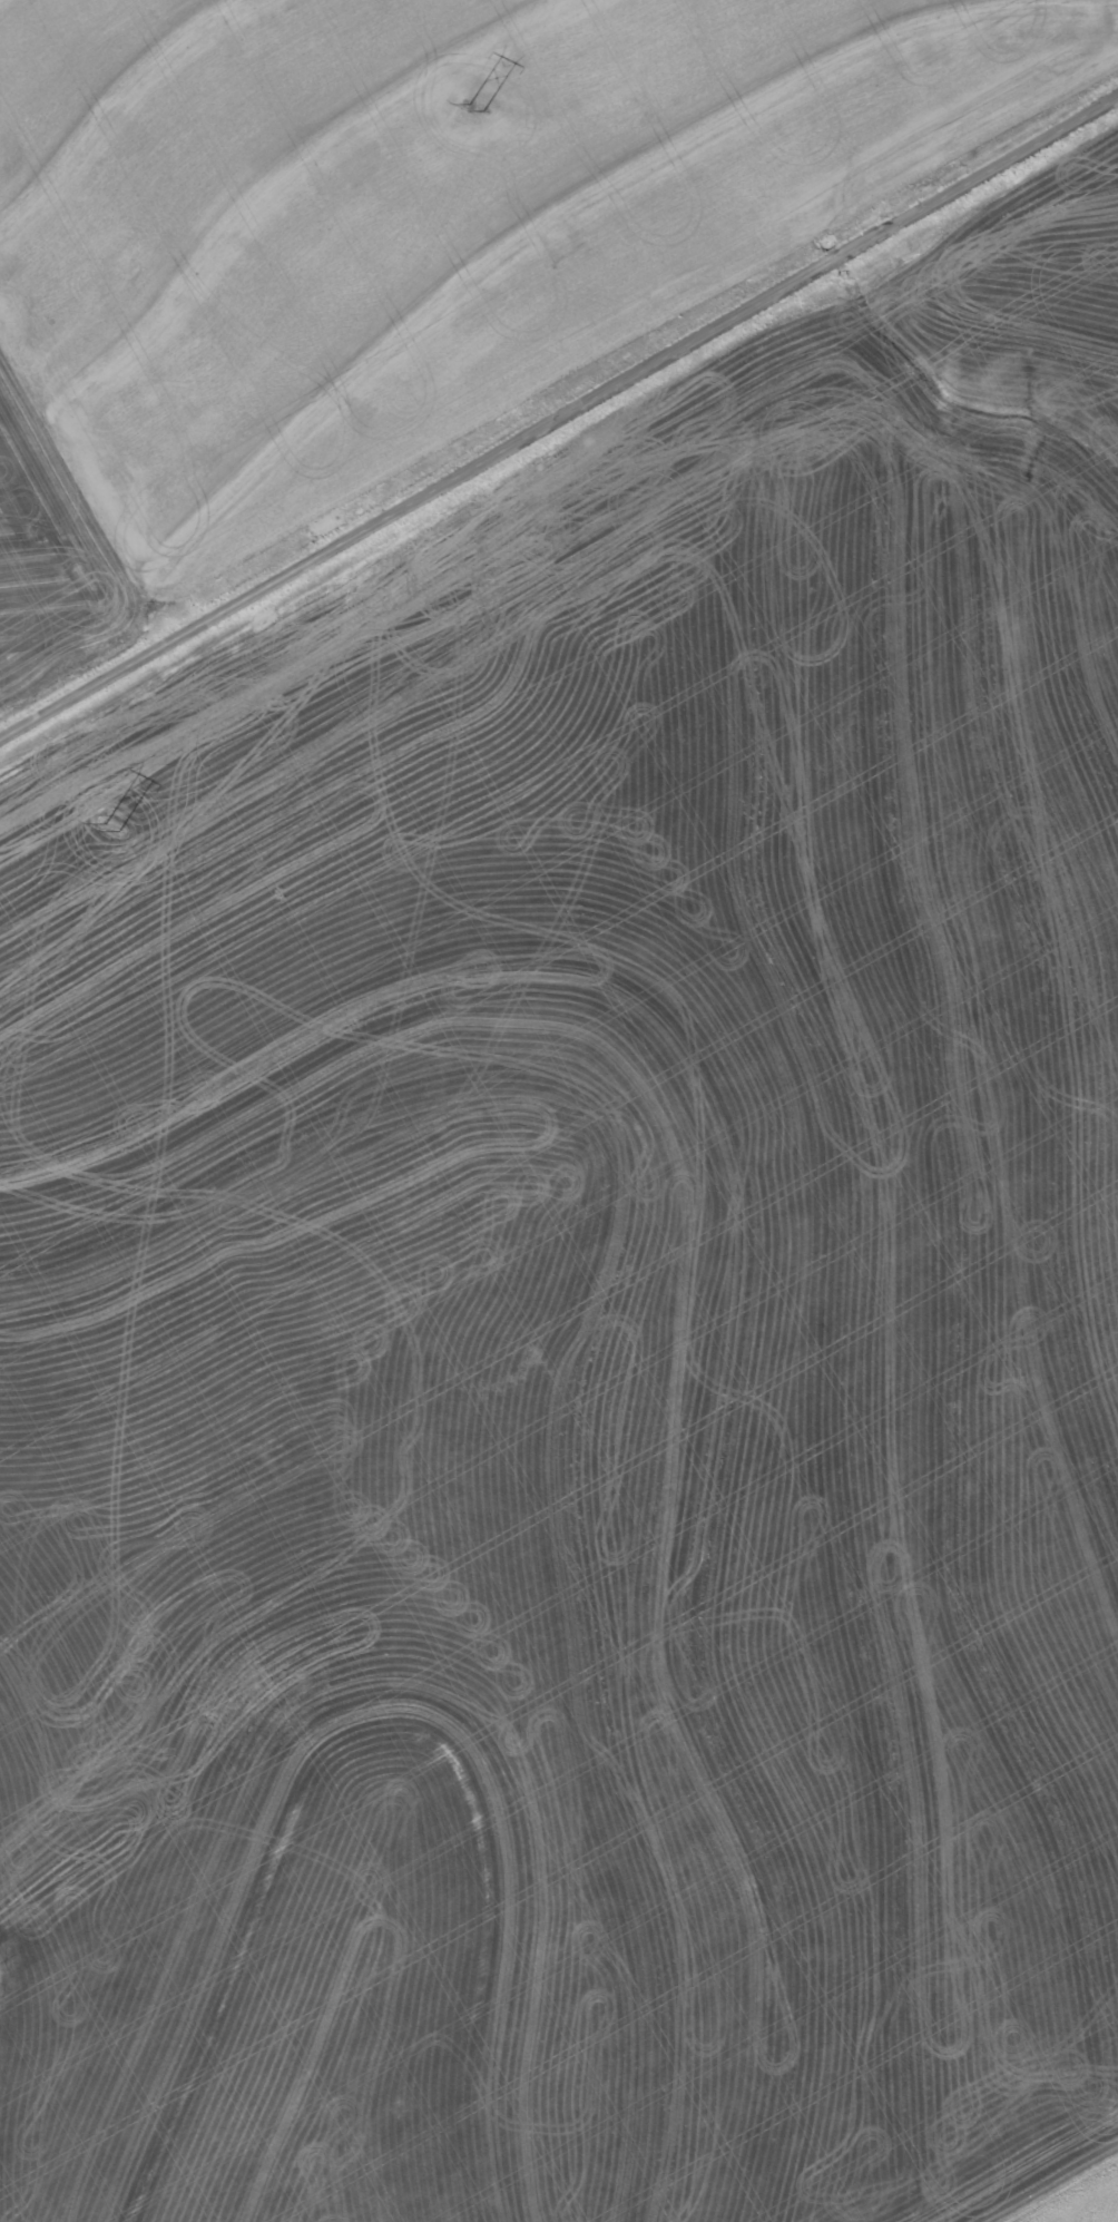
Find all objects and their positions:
power tower: (474, 109)
road: (559, 418)
power tower: (110, 828)

